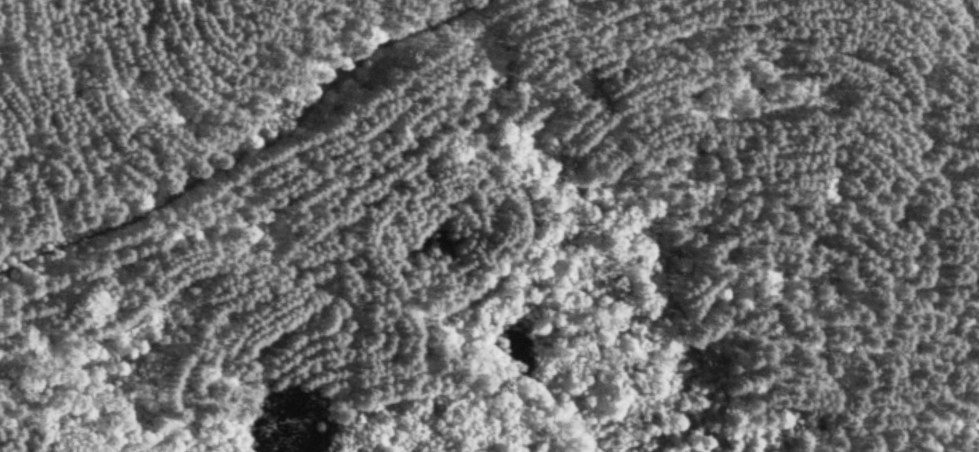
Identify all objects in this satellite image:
road: (240, 138)

